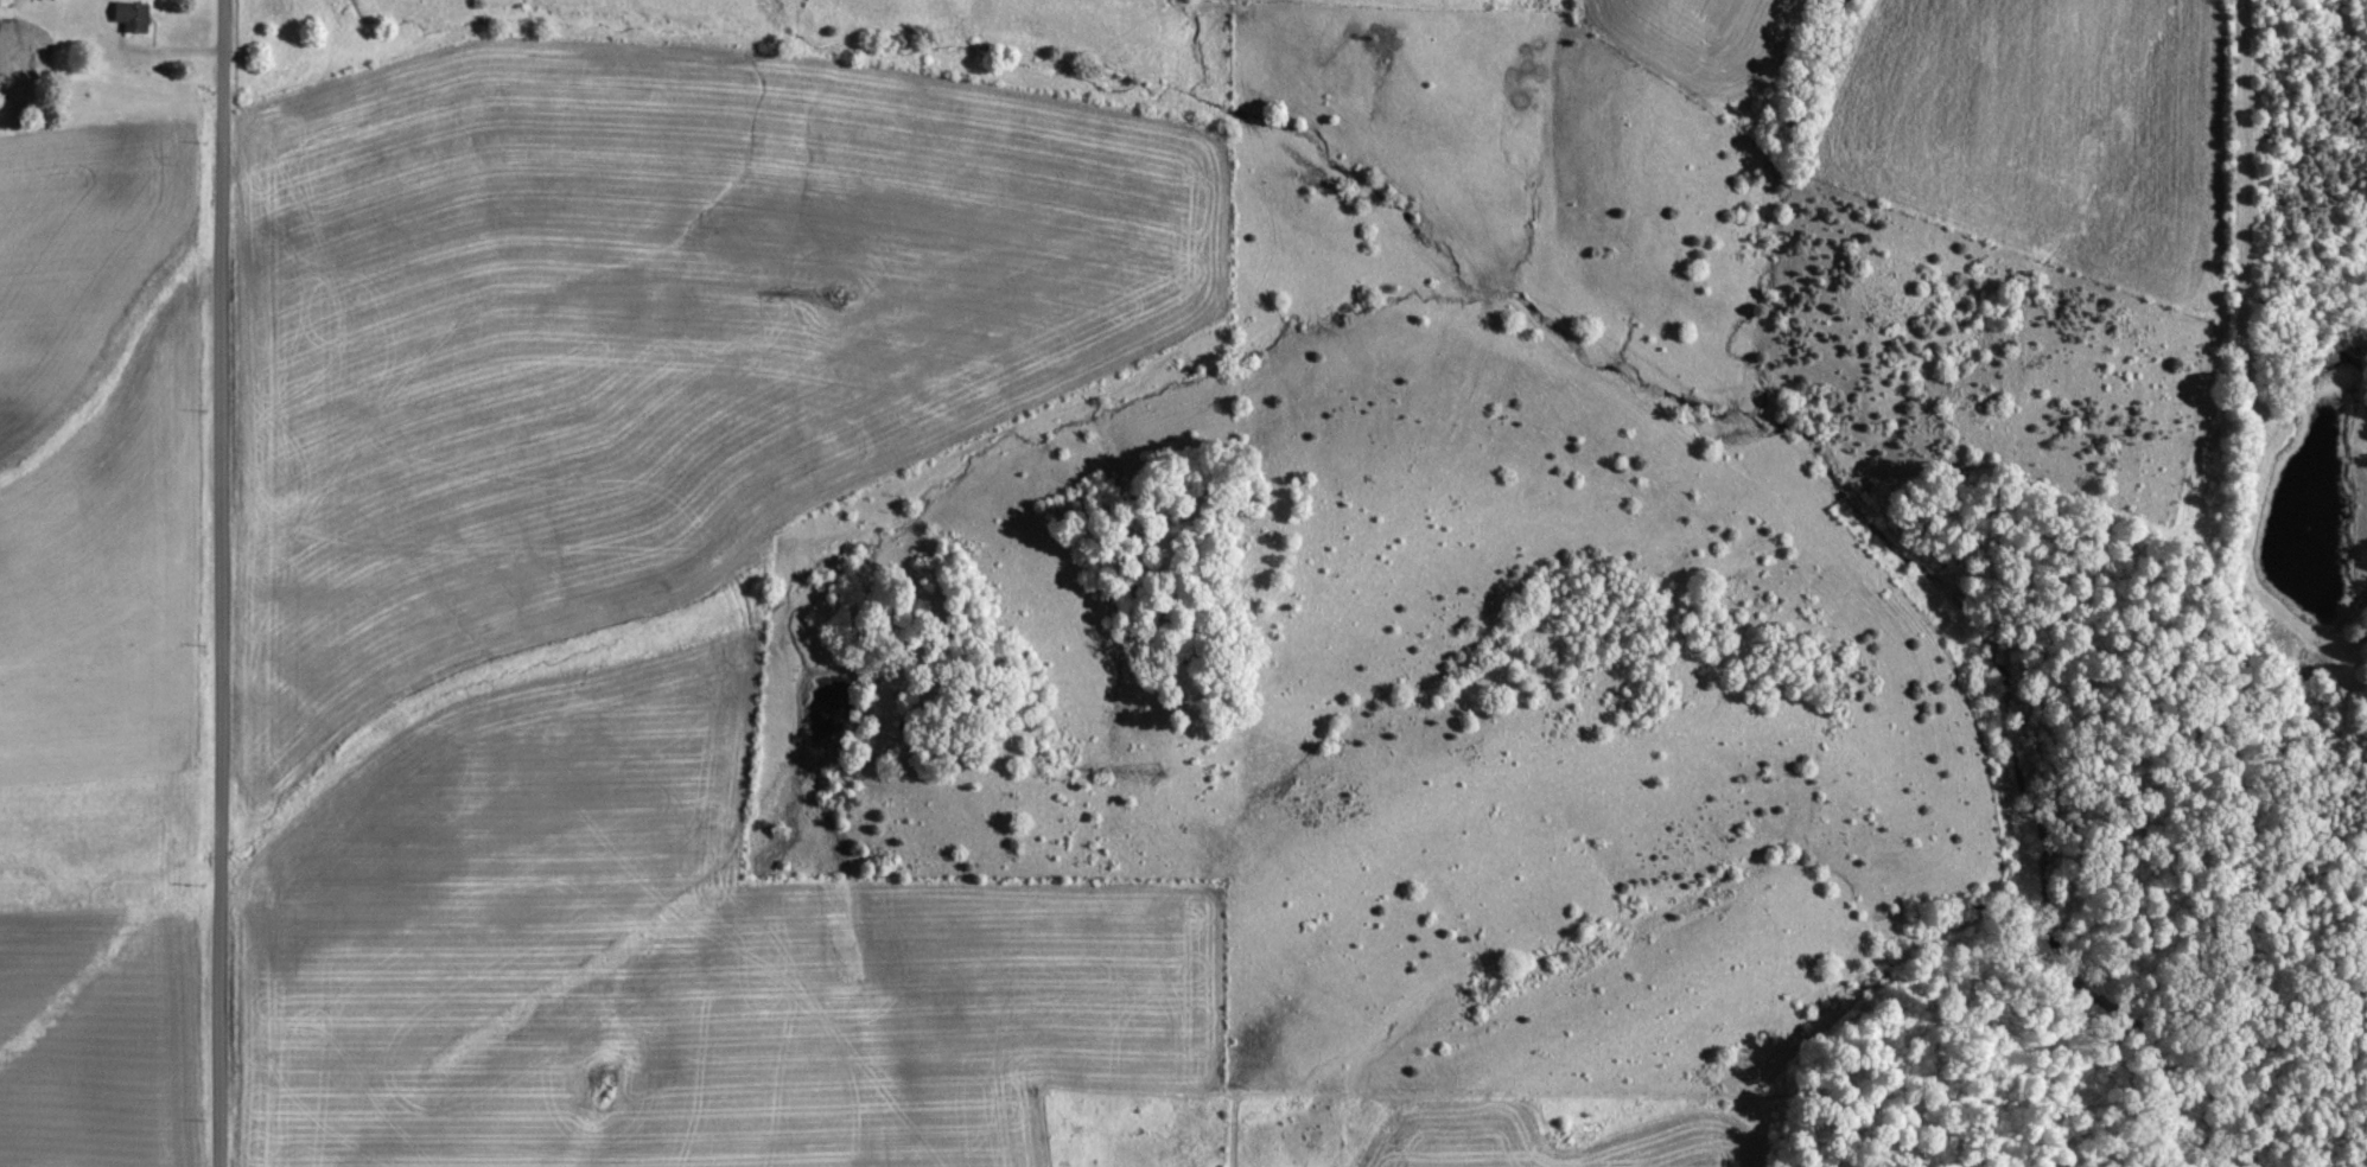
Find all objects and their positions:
building: (139, 15)
road: (158, 50)
power tower: (835, 296)
road: (222, 582)
power tower: (1146, 769)

